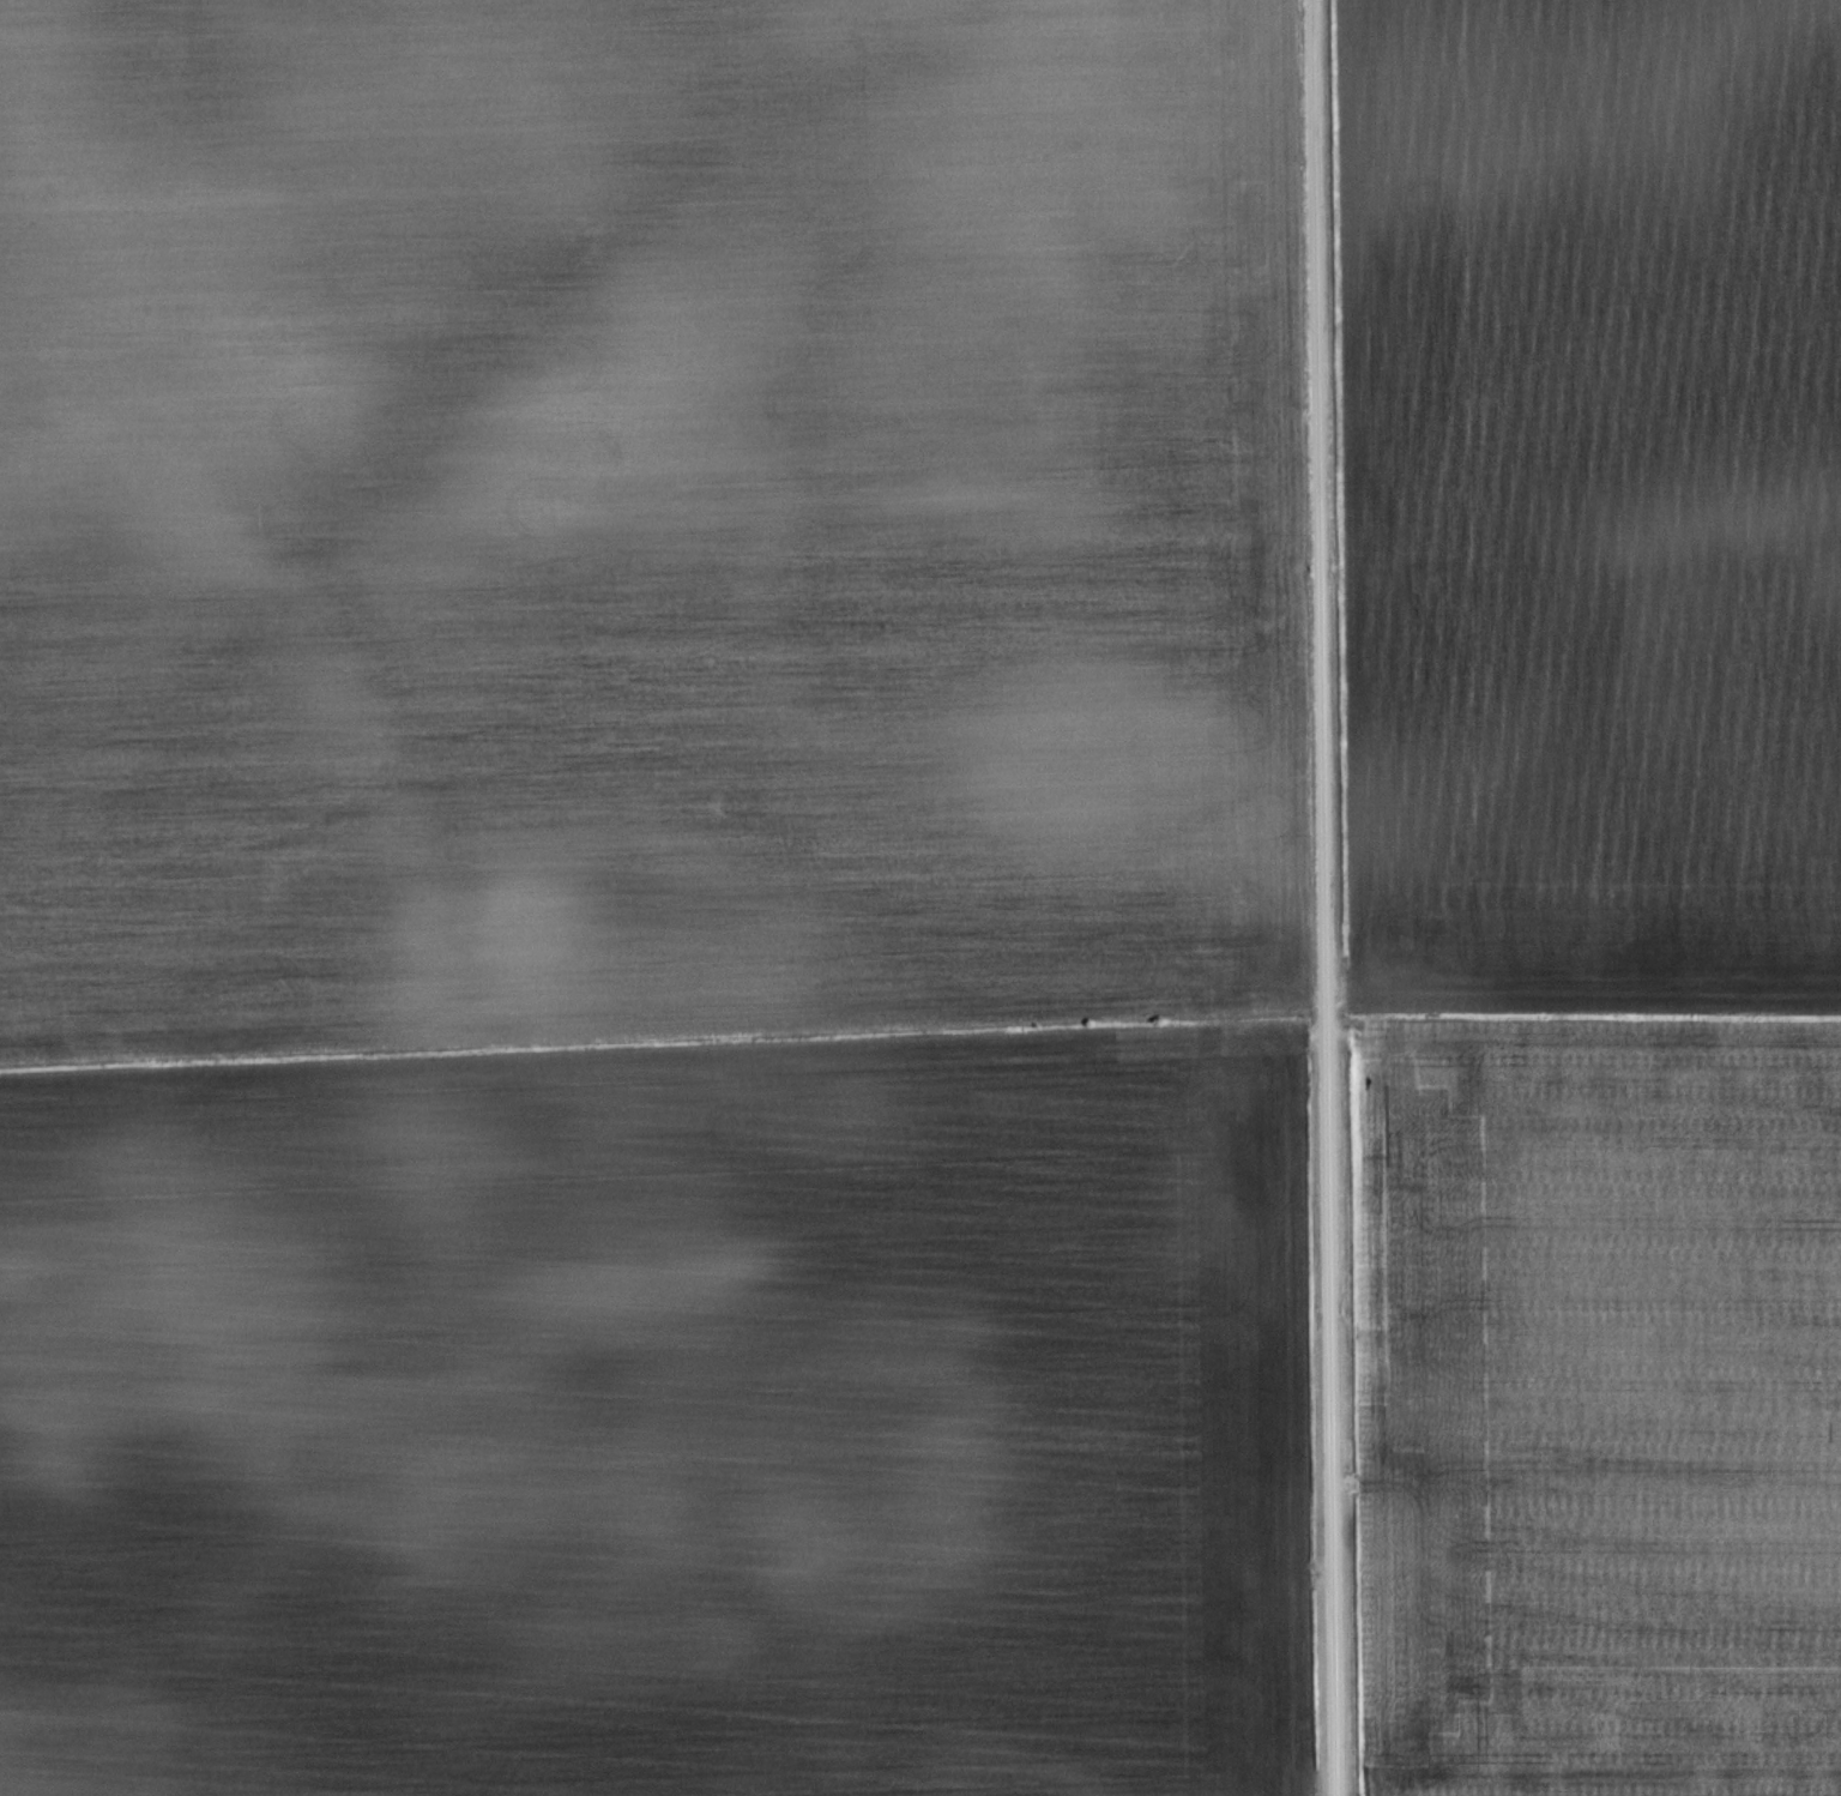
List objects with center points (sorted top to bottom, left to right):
road: (1324, 897)

